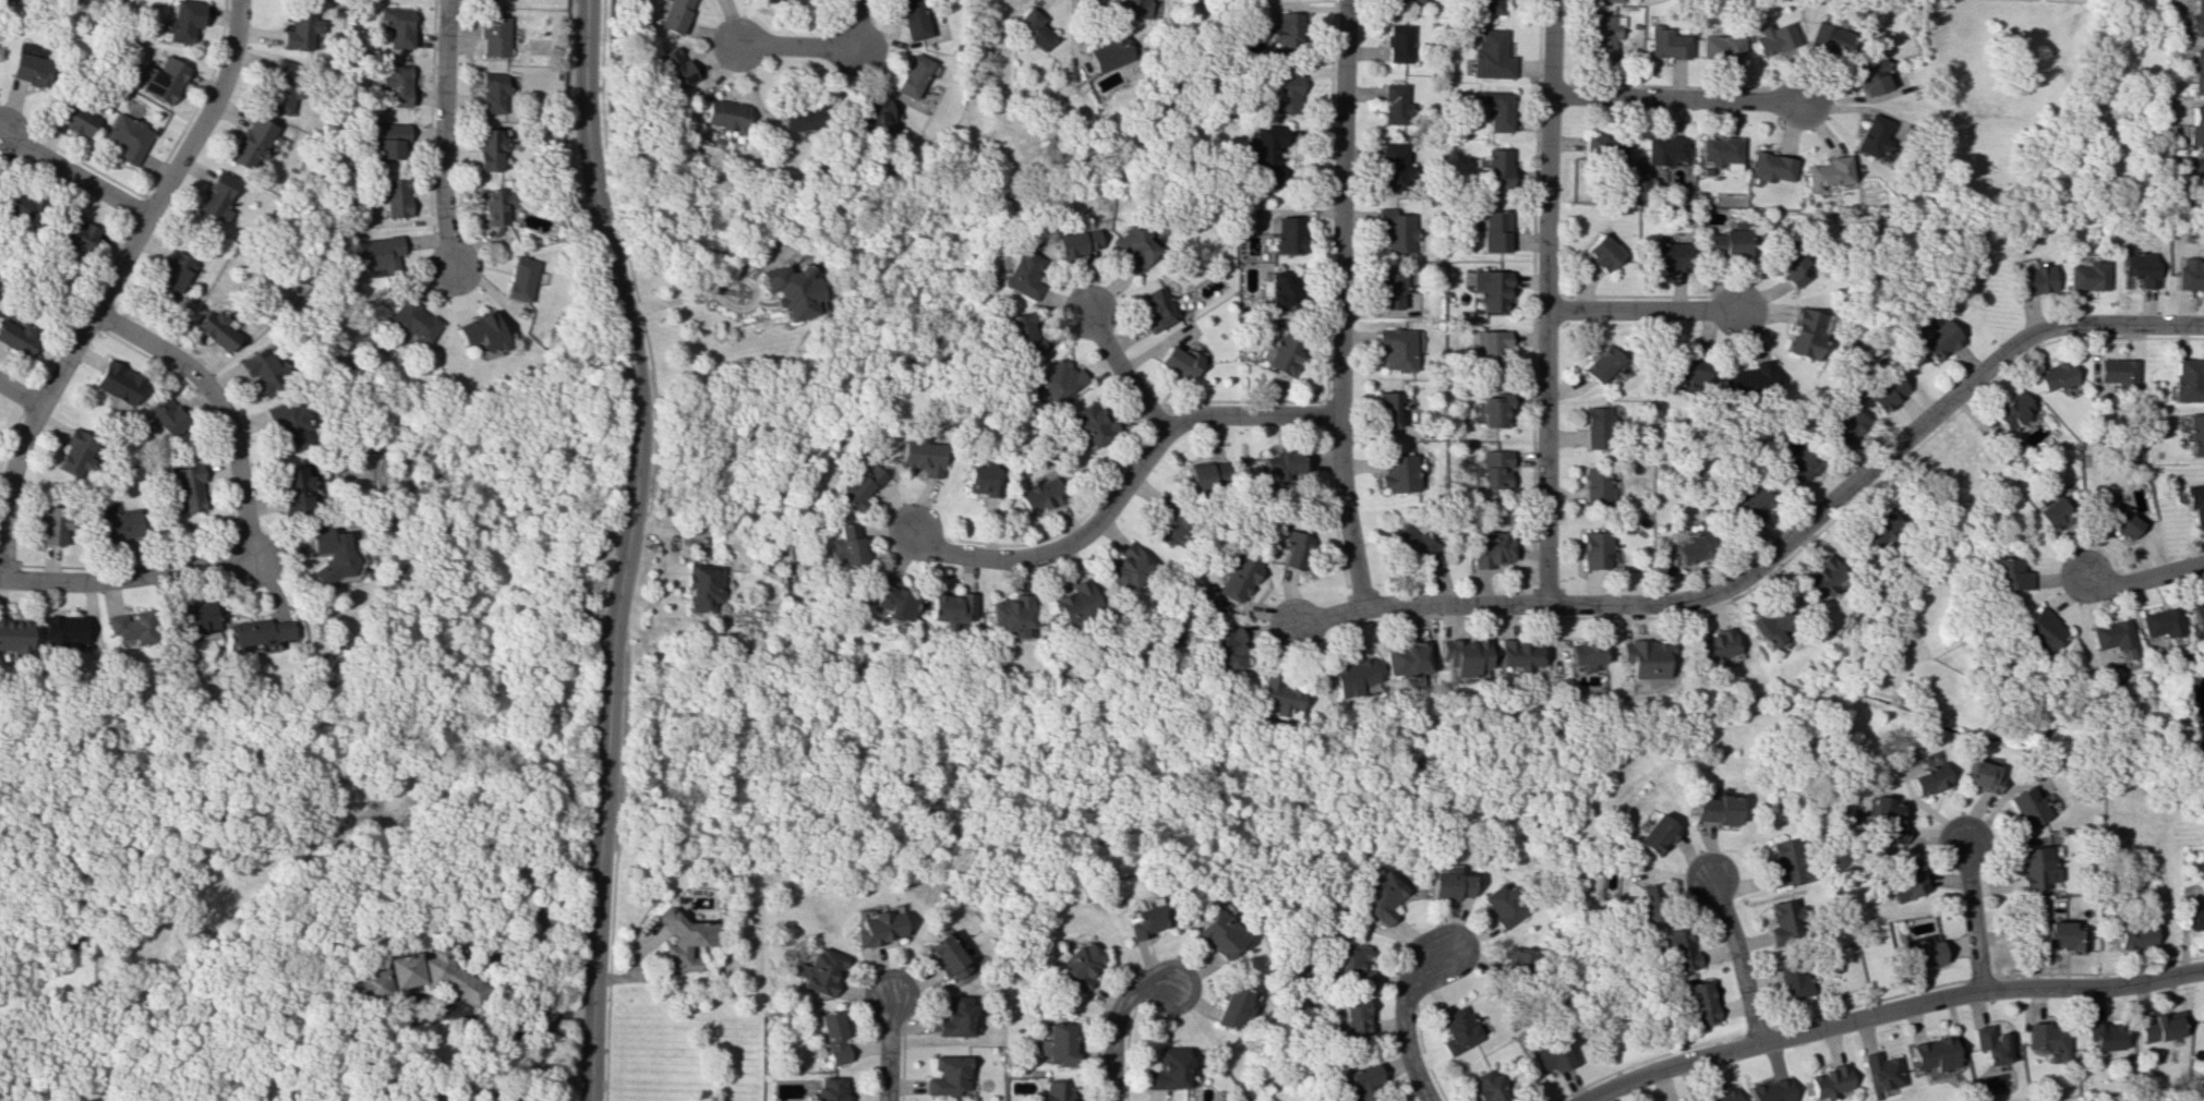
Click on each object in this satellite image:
building: (497, 0)
building: (1623, 0)
building: (1407, 1)
building: (1486, 7)
building: (1134, 8)
building: (674, 15)
building: (907, 19)
building: (183, 21)
building: (395, 26)
building: (1031, 28)
building: (299, 29)
building: (1286, 33)
building: (1604, 34)
building: (493, 36)
building: (1774, 38)
building: (1830, 38)
building: (1397, 43)
building: (1667, 44)
road: (816, 47)
building: (1721, 47)
building: (1109, 52)
building: (1492, 55)
building: (673, 68)
building: (32, 69)
building: (2196, 71)
building: (1868, 73)
building: (907, 75)
building: (164, 80)
building: (393, 83)
building: (281, 85)
building: (493, 90)
building: (1286, 94)
road: (1676, 99)
building: (1393, 104)
building: (1496, 109)
building: (868, 110)
building: (723, 114)
building: (798, 117)
building: (75, 118)
building: (2194, 125)
road: (442, 133)
building: (129, 136)
building: (386, 140)
building: (250, 142)
building: (487, 148)
building: (1606, 148)
building: (1664, 149)
building: (1719, 152)
building: (1268, 155)
building: (1393, 166)
building: (1771, 167)
building: (1498, 168)
building: (1827, 172)
road: (74, 174)
building: (2196, 179)
building: (216, 196)
building: (390, 196)
building: (14, 203)
building: (494, 206)
building: (1495, 230)
building: (76, 233)
building: (1288, 234)
building: (1724, 242)
building: (1074, 243)
building: (1134, 247)
building: (1602, 252)
building: (375, 253)
building: (1669, 256)
building: (1787, 263)
building: (2139, 267)
building: (173, 274)
building: (1021, 274)
building: (2189, 274)
building: (2086, 275)
building: (517, 279)
road: (721, 279)
building: (2033, 279)
road: (107, 286)
building: (1492, 289)
building: (790, 290)
building: (1389, 290)
building: (1282, 292)
road: (1545, 301)
road: (1338, 304)
building: (1156, 307)
road: (1642, 310)
building: (408, 320)
building: (216, 329)
building: (478, 332)
building: (1021, 334)
building: (1803, 334)
building: (16, 337)
building: (1936, 340)
building: (1488, 346)
building: (1396, 349)
building: (1280, 352)
building: (1178, 362)
building: (1602, 364)
building: (263, 371)
building: (1688, 371)
building: (2117, 372)
road: (1122, 374)
building: (2054, 376)
building: (1058, 379)
building: (1747, 379)
building: (2188, 379)
building: (118, 383)
road: (19, 392)
building: (1883, 392)
road: (218, 409)
building: (1387, 409)
building: (1496, 410)
building: (2011, 410)
building: (165, 415)
building: (287, 424)
building: (1091, 424)
building: (1843, 425)
building: (1595, 427)
building: (2195, 435)
building: (74, 453)
building: (919, 456)
building: (1281, 463)
building: (1796, 464)
building: (1496, 469)
building: (1397, 473)
building: (1203, 476)
building: (980, 481)
road: (1122, 483)
building: (1599, 485)
building: (858, 486)
building: (296, 488)
building: (184, 489)
road: (629, 491)
building: (1038, 494)
building: (2195, 503)
building: (1749, 504)
building: (2050, 512)
building: (1164, 520)
building: (2118, 520)
building: (51, 523)
building: (116, 524)
building: (1876, 528)
building: (1411, 543)
building: (843, 545)
road: (1777, 545)
building: (1693, 548)
building: (1293, 549)
building: (1492, 549)
building: (1594, 549)
building: (327, 553)
building: (1127, 566)
building: (2003, 574)
building: (1236, 576)
road: (122, 577)
building: (1819, 577)
road: (2142, 577)
building: (700, 589)
building: (892, 600)
building: (1073, 602)
building: (947, 608)
building: (1008, 615)
building: (2196, 615)
building: (191, 618)
building: (2159, 621)
building: (1766, 625)
building: (128, 626)
building: (59, 629)
building: (2037, 630)
building: (255, 631)
building: (12, 634)
building: (2110, 637)
building: (1710, 646)
building: (1223, 650)
building: (1582, 654)
building: (1460, 655)
building: (1516, 655)
building: (1641, 657)
building: (1401, 658)
building: (1347, 676)
building: (1274, 697)
building: (1980, 776)
building: (1927, 778)
park: (986, 786)
building: (2026, 806)
building: (1713, 810)
road: (617, 815)
building: (1889, 819)
building: (1652, 834)
building: (1781, 863)
building: (2035, 867)
building: (1905, 879)
building: (1445, 884)
building: (1375, 897)
building: (1645, 903)
building: (1497, 904)
road: (1973, 915)
building: (1783, 919)
building: (2195, 919)
building: (1142, 921)
building: (877, 928)
building: (1215, 933)
building: (2061, 935)
building: (2134, 936)
building: (677, 940)
building: (1675, 948)
building: (1924, 953)
building: (941, 956)
road: (1733, 958)
building: (1516, 960)
building: (1076, 965)
building: (1349, 965)
building: (818, 970)
building: (413, 976)
building: (1787, 977)
building: (1696, 1003)
building: (1226, 1006)
road: (1888, 1012)
building: (952, 1016)
building: (2203, 1016)
building: (1348, 1019)
road: (1400, 1019)
road: (1109, 1021)
building: (2160, 1026)
building: (1455, 1029)
road: (502, 1032)
building: (2105, 1036)
building: (831, 1037)
building: (2048, 1039)
road: (589, 1041)
building: (1055, 1043)
building: (1992, 1044)
road: (886, 1052)
building: (1936, 1053)
building: (1549, 1056)
building: (1165, 1068)
building: (1881, 1072)
building: (948, 1076)
building: (1363, 1081)
building: (1827, 1081)
building: (1485, 1087)
building: (829, 1089)
building: (1768, 1090)
building: (1051, 1091)
building: (1718, 1096)
building: (1675, 1100)

